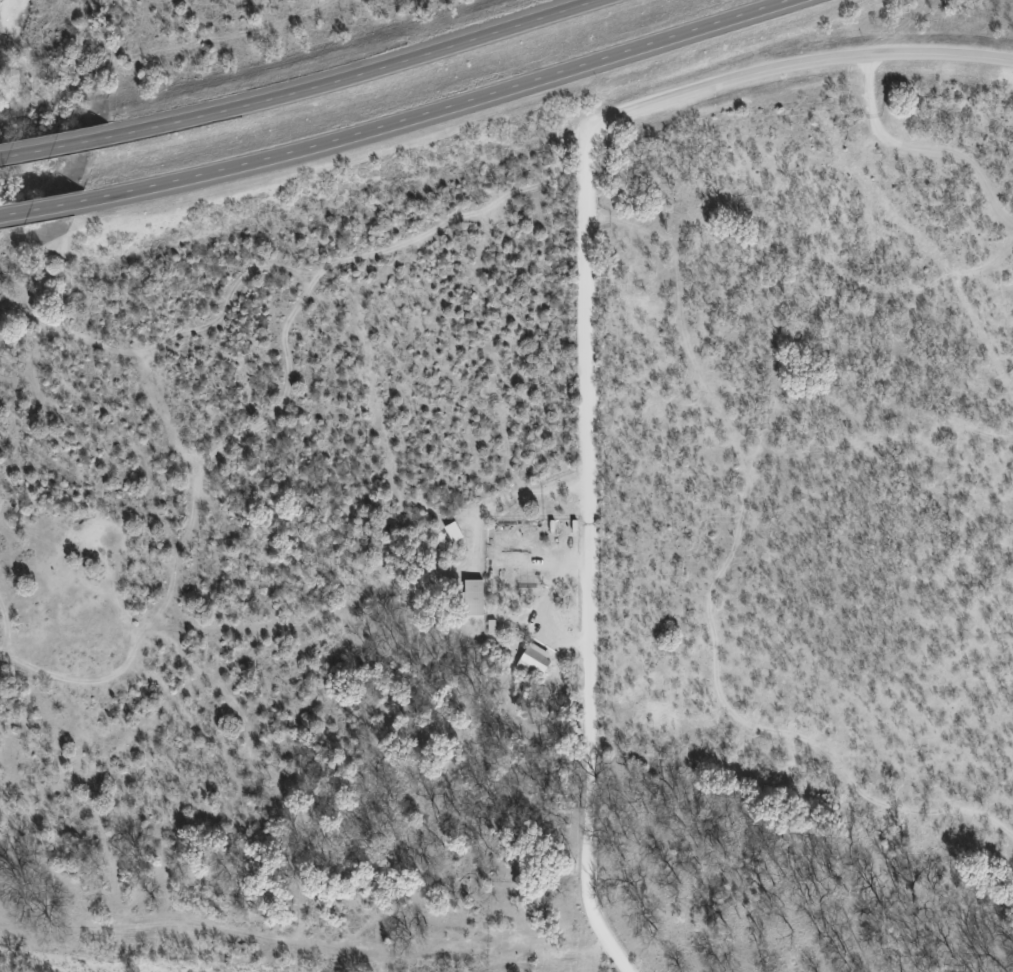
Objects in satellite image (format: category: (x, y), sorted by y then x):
road: (794, 68)
road: (348, 73)
road: (443, 110)
road: (53, 147)
road: (38, 212)
road: (576, 560)
building: (534, 657)

